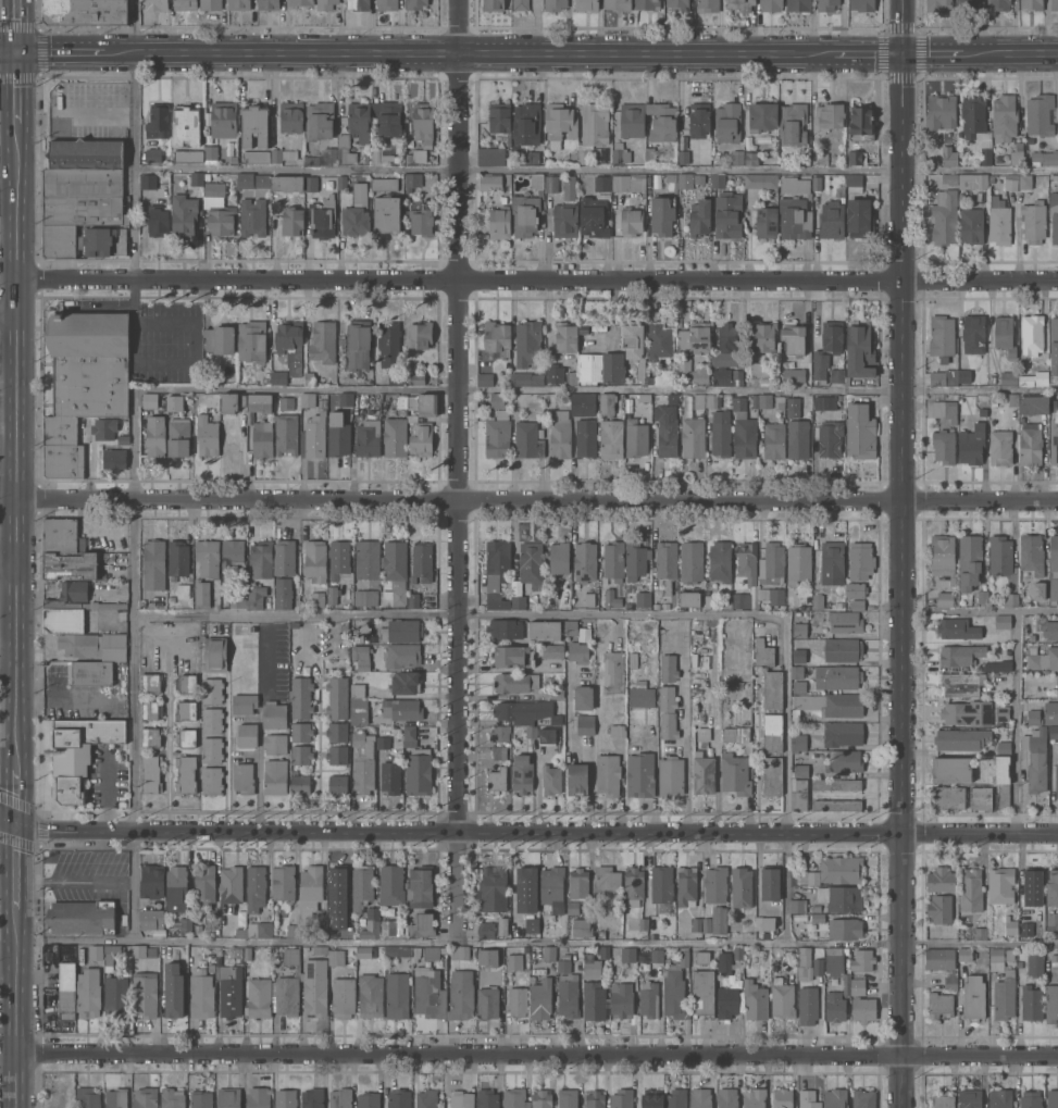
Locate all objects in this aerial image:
building: (967, 1)
building: (300, 2)
building: (647, 3)
building: (155, 4)
building: (185, 4)
building: (210, 4)
building: (239, 4)
building: (267, 4)
building: (325, 4)
building: (358, 4)
building: (386, 4)
building: (415, 4)
building: (521, 4)
building: (553, 4)
building: (586, 4)
building: (618, 4)
building: (740, 4)
building: (770, 4)
building: (827, 4)
building: (937, 4)
building: (998, 4)
building: (1031, 4)
building: (1054, 4)
building: (493, 5)
building: (677, 5)
building: (707, 5)
building: (798, 5)
building: (861, 5)
building: (86, 12)
road: (135, 25)
road: (16, 26)
road: (682, 49)
road: (861, 49)
traffic signals: (899, 49)
road: (933, 49)
road: (1012, 49)
road: (422, 50)
road: (499, 50)
road: (245, 51)
road: (9, 52)
traffic signals: (17, 52)
road: (61, 52)
road: (17, 89)
building: (941, 112)
building: (1040, 114)
building: (762, 115)
building: (972, 115)
building: (291, 116)
building: (829, 116)
building: (387, 117)
building: (499, 117)
building: (1004, 117)
building: (223, 120)
building: (359, 120)
building: (632, 120)
building: (699, 120)
building: (157, 121)
building: (319, 121)
building: (662, 122)
building: (727, 122)
building: (423, 123)
building: (559, 123)
building: (860, 123)
building: (525, 124)
building: (793, 124)
building: (186, 125)
building: (254, 125)
building: (593, 130)
building: (345, 150)
building: (210, 152)
building: (84, 153)
building: (620, 153)
building: (153, 154)
building: (283, 154)
building: (329, 154)
building: (376, 154)
building: (188, 155)
building: (419, 155)
building: (649, 155)
building: (256, 157)
building: (491, 157)
building: (524, 157)
building: (683, 157)
building: (855, 157)
building: (985, 157)
building: (1016, 157)
building: (408, 158)
building: (751, 158)
building: (819, 158)
building: (949, 158)
building: (1045, 158)
building: (736, 159)
building: (311, 160)
building: (300, 161)
road: (136, 162)
road: (596, 171)
building: (204, 175)
building: (671, 177)
building: (196, 178)
building: (699, 178)
building: (949, 178)
building: (991, 179)
building: (148, 180)
building: (245, 180)
building: (262, 180)
building: (411, 180)
building: (684, 180)
building: (718, 180)
building: (761, 180)
building: (972, 180)
building: (341, 182)
building: (489, 182)
building: (1010, 182)
building: (1024, 182)
building: (83, 183)
building: (287, 183)
building: (817, 183)
building: (854, 183)
building: (310, 184)
building: (384, 184)
building: (601, 184)
building: (627, 184)
building: (794, 184)
building: (561, 185)
building: (674, 187)
building: (276, 198)
building: (961, 201)
building: (526, 209)
building: (82, 210)
building: (219, 211)
building: (357, 212)
building: (183, 214)
building: (386, 214)
building: (662, 214)
building: (727, 215)
building: (1054, 215)
building: (252, 216)
building: (593, 216)
building: (322, 217)
building: (699, 217)
building: (859, 217)
building: (944, 217)
building: (420, 219)
building: (794, 219)
building: (564, 220)
building: (831, 220)
building: (158, 221)
building: (291, 221)
building: (632, 221)
building: (1033, 221)
building: (499, 222)
building: (766, 222)
building: (999, 222)
building: (971, 225)
building: (121, 240)
building: (75, 241)
road: (538, 273)
road: (9, 304)
road: (196, 334)
building: (973, 334)
building: (1004, 334)
building: (1032, 334)
building: (941, 335)
building: (419, 336)
building: (763, 336)
building: (698, 337)
building: (631, 338)
building: (726, 338)
building: (793, 338)
building: (220, 339)
building: (340, 339)
building: (496, 339)
building: (587, 339)
building: (605, 339)
building: (614, 339)
building: (251, 341)
building: (323, 341)
building: (527, 343)
building: (659, 343)
building: (289, 344)
building: (388, 344)
building: (1054, 345)
building: (358, 346)
building: (826, 348)
building: (859, 350)
building: (562, 351)
building: (723, 359)
building: (88, 362)
building: (739, 364)
building: (683, 365)
building: (612, 368)
building: (760, 370)
building: (640, 371)
building: (793, 372)
building: (1024, 374)
building: (836, 375)
building: (396, 376)
building: (699, 376)
building: (721, 376)
building: (964, 376)
building: (278, 377)
building: (1041, 377)
building: (308, 378)
building: (416, 378)
building: (483, 378)
building: (526, 378)
building: (649, 378)
building: (937, 378)
building: (1008, 378)
road: (9, 379)
building: (672, 382)
road: (599, 389)
building: (673, 397)
building: (842, 397)
building: (537, 398)
building: (644, 398)
building: (308, 399)
building: (345, 399)
building: (518, 399)
building: (1012, 399)
building: (148, 400)
building: (402, 400)
building: (496, 400)
building: (549, 400)
building: (709, 400)
building: (761, 400)
building: (232, 401)
building: (698, 401)
building: (259, 402)
building: (412, 402)
building: (780, 402)
building: (824, 402)
building: (994, 402)
building: (174, 403)
building: (286, 403)
building: (607, 403)
building: (427, 404)
building: (583, 404)
building: (1033, 404)
building: (1053, 404)
building: (793, 407)
building: (944, 410)
building: (983, 412)
building: (699, 413)
building: (103, 428)
building: (665, 429)
building: (743, 429)
building: (60, 431)
building: (860, 432)
building: (559, 434)
building: (721, 434)
building: (207, 435)
building: (286, 435)
building: (338, 435)
building: (497, 435)
building: (154, 436)
building: (314, 436)
building: (178, 437)
building: (395, 437)
building: (420, 437)
building: (693, 437)
building: (262, 438)
building: (368, 438)
building: (585, 438)
building: (610, 438)
building: (830, 438)
building: (122, 439)
building: (527, 439)
building: (636, 439)
building: (797, 439)
building: (774, 440)
building: (1054, 441)
building: (971, 444)
building: (1030, 445)
building: (944, 446)
road: (17, 447)
building: (999, 448)
building: (63, 460)
building: (114, 460)
road: (458, 470)
road: (537, 499)
building: (59, 535)
building: (1054, 552)
road: (899, 553)
building: (1031, 553)
building: (942, 555)
building: (1000, 555)
building: (233, 556)
building: (284, 557)
building: (177, 558)
building: (207, 558)
building: (558, 558)
road: (9, 559)
building: (260, 559)
building: (338, 559)
building: (368, 559)
building: (613, 559)
building: (315, 560)
building: (422, 560)
building: (635, 560)
building: (720, 560)
building: (860, 560)
building: (584, 561)
building: (690, 561)
building: (832, 561)
building: (969, 561)
building: (747, 562)
building: (531, 563)
building: (798, 563)
building: (153, 564)
building: (665, 564)
building: (772, 564)
building: (70, 565)
building: (496, 572)
building: (394, 573)
building: (173, 577)
building: (951, 581)
building: (628, 588)
building: (855, 589)
building: (1054, 589)
building: (183, 590)
building: (1040, 590)
building: (283, 593)
building: (201, 594)
building: (105, 595)
building: (332, 595)
building: (70, 596)
building: (256, 596)
building: (772, 596)
building: (982, 596)
building: (365, 597)
building: (611, 598)
building: (171, 599)
building: (316, 599)
building: (412, 599)
building: (588, 599)
building: (643, 599)
building: (689, 599)
building: (946, 599)
building: (1011, 599)
building: (236, 600)
building: (742, 600)
building: (709, 601)
building: (818, 601)
building: (141, 602)
building: (518, 602)
building: (838, 605)
building: (857, 605)
building: (628, 606)
building: (656, 606)
road: (979, 611)
road: (622, 613)
road: (296, 615)
building: (69, 620)
building: (845, 621)
building: (1003, 621)
building: (295, 624)
building: (283, 626)
building: (570, 627)
building: (1047, 627)
building: (505, 628)
building: (957, 628)
building: (544, 630)
building: (799, 630)
building: (400, 631)
building: (1032, 637)
building: (373, 638)
building: (79, 644)
building: (214, 645)
building: (802, 649)
building: (843, 649)
building: (552, 651)
building: (577, 652)
building: (762, 653)
building: (960, 655)
building: (402, 656)
building: (512, 656)
building: (361, 657)
building: (1042, 658)
road: (135, 661)
building: (992, 665)
building: (668, 668)
building: (796, 671)
building: (346, 672)
building: (612, 672)
building: (91, 673)
building: (838, 676)
building: (404, 682)
building: (514, 682)
building: (150, 683)
building: (186, 683)
building: (733, 684)
building: (961, 684)
building: (799, 686)
building: (1057, 686)
building: (771, 689)
building: (211, 690)
building: (357, 690)
building: (557, 694)
building: (1008, 694)
building: (1030, 694)
building: (640, 696)
building: (300, 697)
building: (336, 698)
building: (583, 698)
building: (667, 698)
building: (244, 704)
building: (831, 704)
road: (63, 707)
building: (151, 709)
building: (401, 709)
building: (185, 710)
building: (358, 711)
building: (525, 712)
building: (1050, 712)
building: (967, 713)
building: (1001, 713)
building: (273, 715)
building: (1033, 717)
building: (211, 720)
road: (1019, 721)
building: (585, 724)
building: (668, 725)
building: (1026, 726)
building: (617, 731)
building: (301, 732)
building: (336, 732)
building: (531, 732)
building: (1054, 732)
building: (499, 733)
building: (772, 733)
building: (842, 733)
building: (735, 734)
building: (246, 735)
building: (410, 736)
building: (548, 736)
building: (150, 737)
building: (186, 737)
building: (960, 738)
building: (383, 742)
building: (798, 742)
building: (275, 744)
building: (706, 747)
building: (1004, 747)
building: (211, 749)
road: (684, 749)
building: (499, 751)
building: (77, 754)
building: (301, 755)
building: (336, 755)
building: (1036, 760)
building: (846, 762)
building: (363, 764)
building: (950, 769)
building: (1000, 769)
building: (799, 771)
building: (294, 772)
building: (522, 773)
building: (702, 773)
building: (151, 774)
building: (185, 774)
building: (419, 774)
building: (608, 774)
building: (640, 774)
building: (735, 774)
building: (772, 775)
building: (275, 776)
building: (671, 776)
building: (390, 777)
building: (242, 779)
building: (577, 779)
building: (1056, 779)
building: (211, 780)
building: (496, 780)
building: (551, 780)
road: (785, 783)
building: (837, 784)
building: (300, 785)
building: (337, 785)
road: (16, 794)
building: (798, 795)
building: (837, 795)
building: (948, 797)
building: (1003, 797)
building: (981, 798)
building: (836, 805)
traffic signals: (16, 819)
road: (527, 830)
road: (16, 863)
building: (841, 870)
building: (813, 877)
building: (941, 880)
road: (75, 881)
building: (1031, 882)
building: (150, 883)
building: (284, 883)
building: (203, 884)
building: (231, 884)
building: (578, 884)
building: (715, 884)
building: (770, 884)
building: (338, 885)
building: (391, 885)
building: (406, 885)
building: (608, 885)
building: (633, 885)
building: (1001, 885)
building: (361, 886)
building: (686, 886)
building: (740, 886)
building: (420, 887)
building: (662, 887)
building: (1051, 887)
building: (256, 888)
building: (526, 888)
building: (176, 889)
building: (311, 889)
building: (493, 889)
building: (552, 889)
building: (970, 889)
building: (837, 897)
building: (802, 907)
building: (573, 908)
building: (588, 908)
building: (939, 908)
building: (82, 917)
building: (150, 919)
building: (719, 920)
building: (1053, 921)
building: (186, 922)
building: (643, 923)
building: (764, 923)
building: (371, 924)
building: (421, 924)
building: (696, 924)
building: (532, 925)
building: (707, 925)
building: (1010, 925)
building: (388, 928)
building: (581, 928)
building: (832, 928)
building: (198, 929)
building: (503, 929)
building: (1025, 929)
building: (259, 930)
building: (486, 930)
building: (980, 930)
building: (292, 931)
building: (654, 932)
building: (240, 933)
building: (599, 934)
building: (562, 935)
building: (766, 935)
road: (536, 942)
building: (320, 949)
building: (513, 949)
building: (399, 950)
building: (95, 951)
building: (138, 951)
building: (151, 951)
building: (365, 951)
building: (602, 951)
building: (110, 953)
building: (236, 953)
building: (247, 953)
building: (433, 953)
building: (459, 953)
building: (549, 953)
building: (737, 953)
building: (415, 954)
building: (627, 954)
building: (964, 954)
building: (290, 956)
building: (657, 956)
building: (488, 957)
building: (702, 957)
building: (336, 958)
building: (939, 958)
building: (999, 958)
building: (833, 960)
building: (862, 960)
building: (1054, 960)
building: (513, 961)
building: (724, 961)
building: (804, 963)
building: (1019, 963)
building: (1034, 963)
building: (563, 966)
building: (590, 966)
building: (211, 967)
building: (817, 967)
building: (950, 980)
building: (858, 983)
building: (846, 984)
building: (675, 985)
building: (314, 987)
building: (228, 988)
building: (65, 991)
building: (858, 991)
building: (88, 993)
building: (428, 993)
building: (702, 993)
building: (201, 994)
building: (145, 995)
building: (370, 995)
building: (397, 995)
building: (286, 996)
building: (460, 996)
building: (568, 996)
building: (1004, 996)
building: (115, 997)
building: (172, 997)
building: (343, 997)
building: (973, 997)
building: (259, 998)
building: (540, 998)
building: (648, 998)
building: (782, 998)
building: (622, 999)
building: (755, 1000)
building: (516, 1001)
building: (595, 1001)
building: (726, 1001)
building: (487, 1003)
building: (1031, 1003)
building: (1050, 1003)
building: (808, 1005)
building: (939, 1005)
road: (14, 1007)
building: (835, 1007)
building: (862, 1009)
road: (536, 1057)
building: (145, 1096)
building: (87, 1097)
building: (115, 1097)
building: (171, 1097)
building: (227, 1097)
building: (258, 1097)
building: (312, 1097)
building: (339, 1097)
building: (649, 1097)
building: (700, 1097)
building: (754, 1097)
building: (781, 1097)
building: (835, 1097)
building: (862, 1097)
building: (999, 1097)
building: (200, 1098)
building: (285, 1098)
building: (398, 1098)
building: (426, 1098)
building: (486, 1098)
building: (515, 1098)
building: (542, 1098)
building: (568, 1098)
building: (594, 1098)
building: (621, 1098)
building: (675, 1098)
building: (725, 1098)
building: (807, 1098)
building: (969, 1098)
building: (1030, 1098)
building: (1051, 1098)
building: (368, 1099)
building: (461, 1099)
building: (943, 1099)

